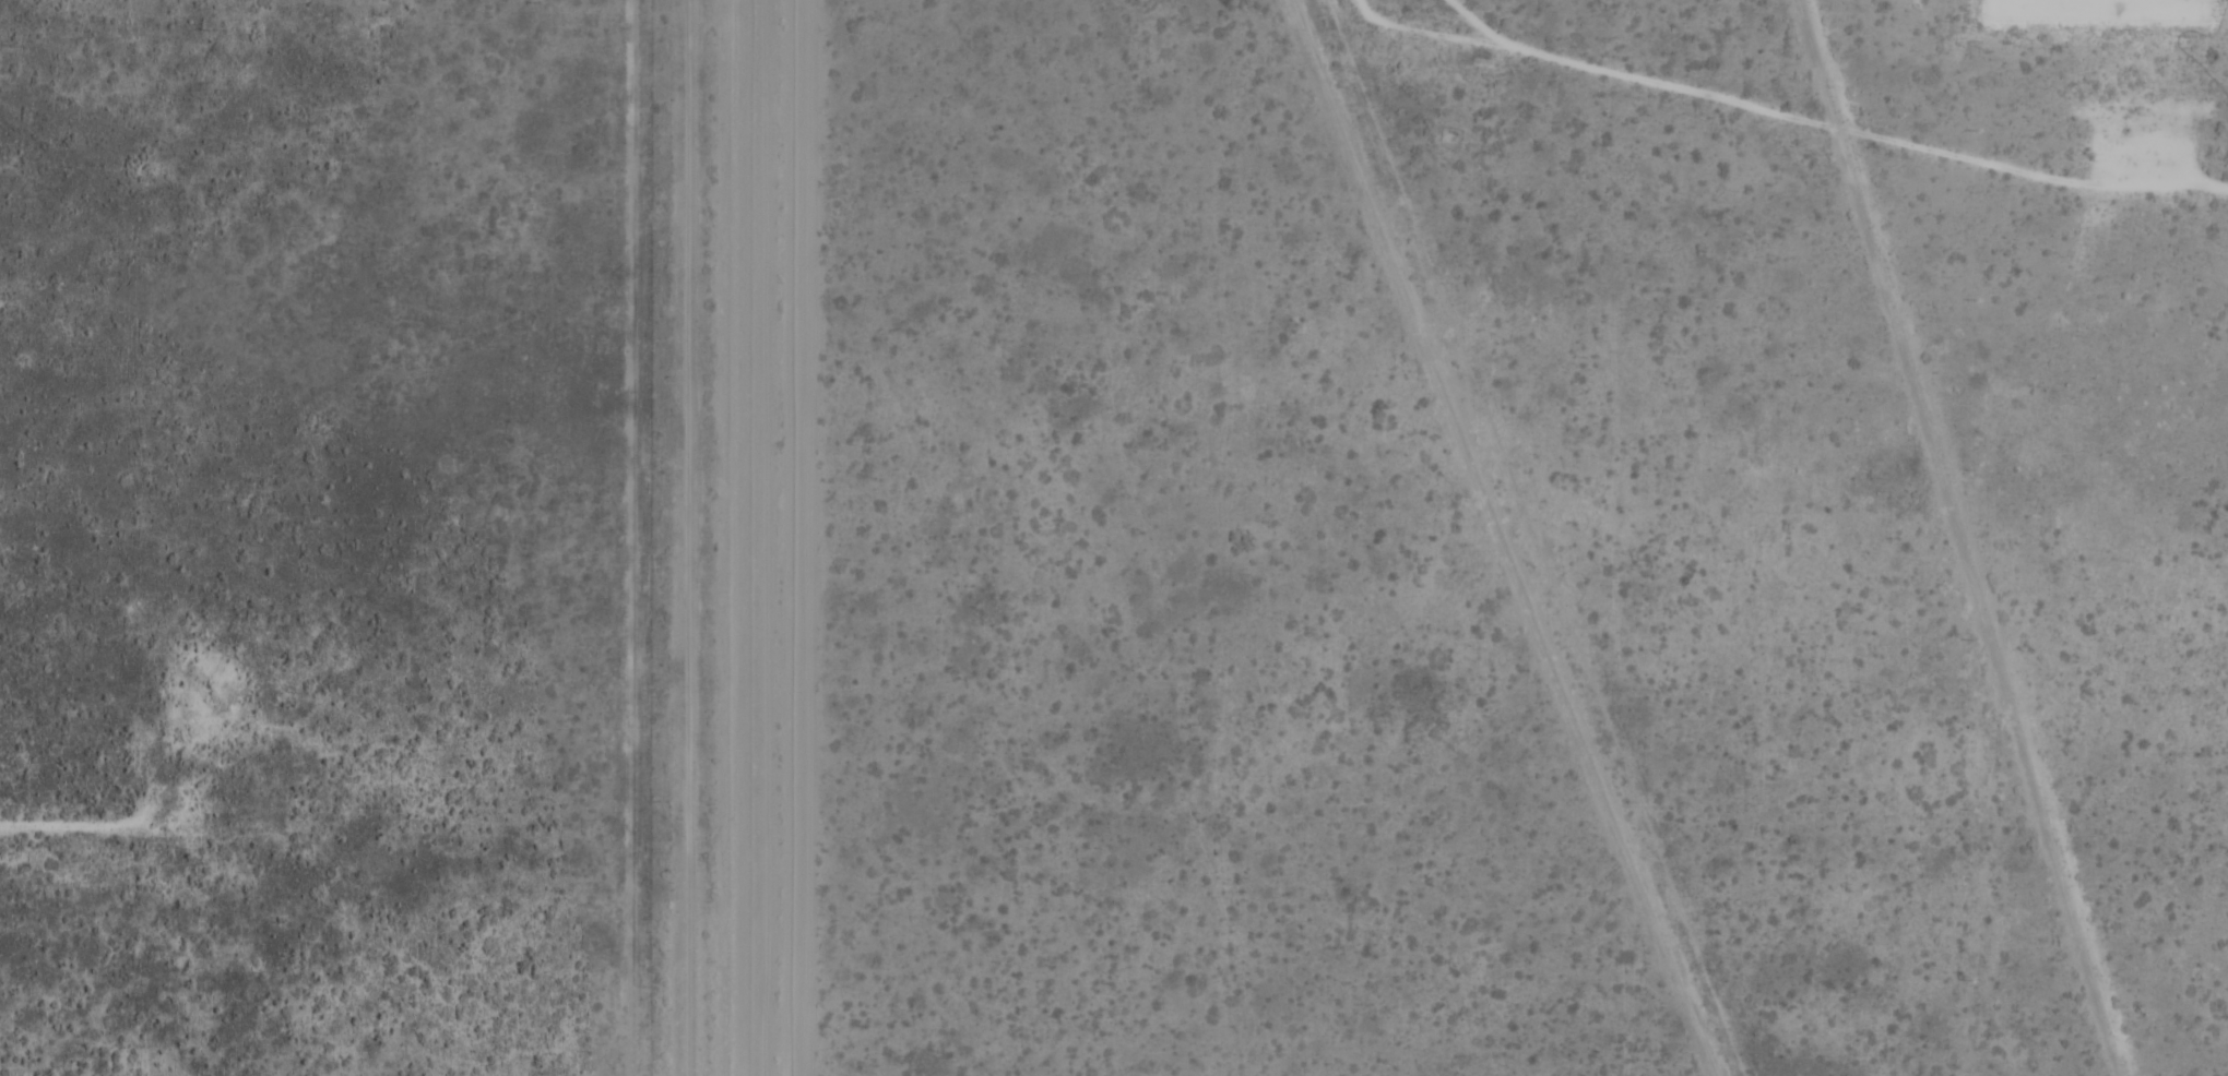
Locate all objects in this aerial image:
road: (1785, 110)
road: (2179, 193)
road: (88, 823)

